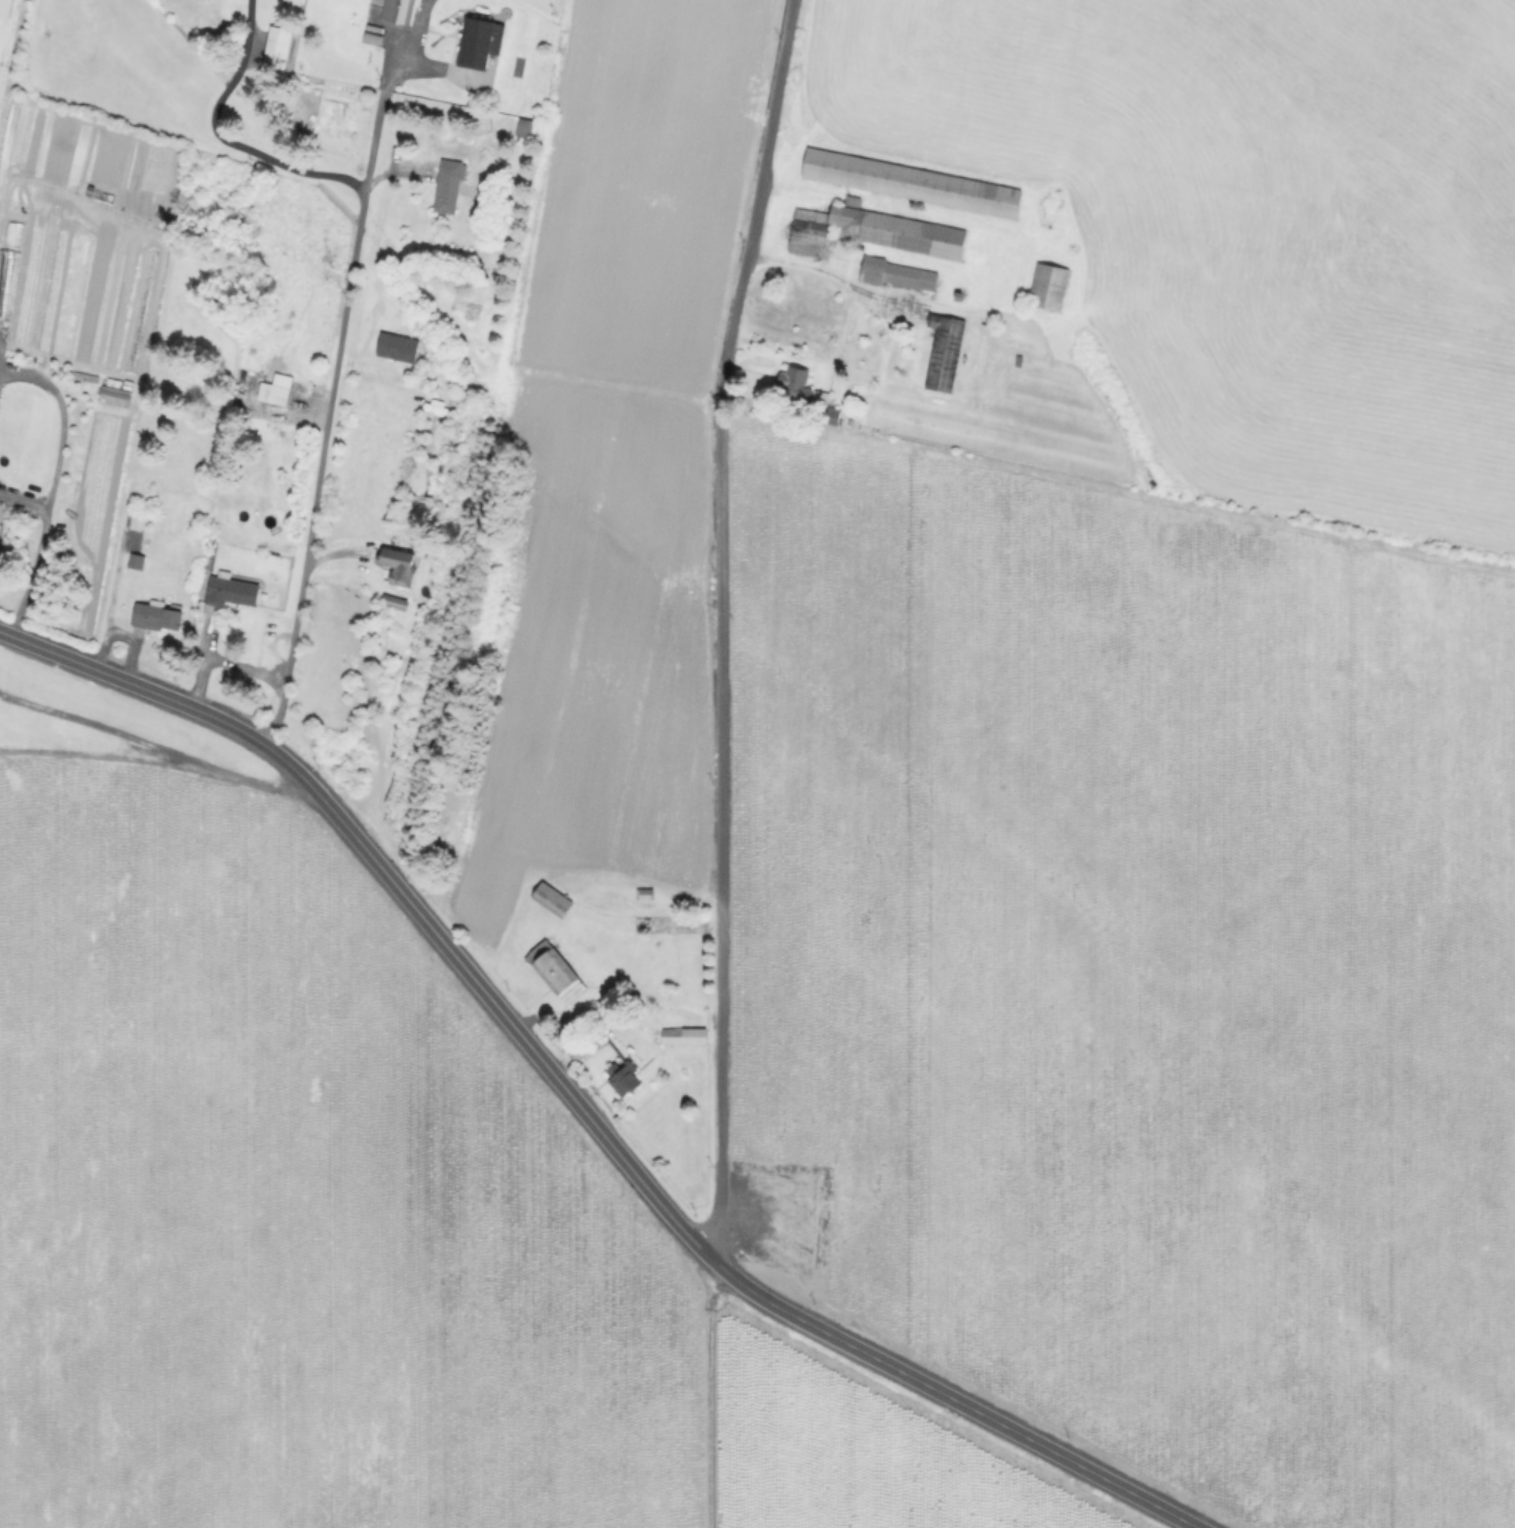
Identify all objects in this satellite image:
building: (401, 11)
building: (480, 42)
building: (277, 48)
road: (379, 111)
building: (522, 131)
building: (909, 185)
building: (447, 193)
road: (359, 225)
building: (869, 234)
building: (897, 277)
building: (1047, 289)
building: (959, 297)
building: (398, 347)
building: (945, 352)
building: (808, 393)
building: (280, 395)
road: (45, 487)
road: (21, 497)
building: (137, 561)
building: (399, 565)
building: (231, 591)
building: (396, 602)
building: (157, 616)
road: (720, 624)
road: (290, 657)
building: (646, 894)
building: (554, 899)
building: (557, 972)
building: (685, 1036)
building: (581, 1051)
building: (624, 1078)
road: (576, 1100)
road: (702, 1389)

